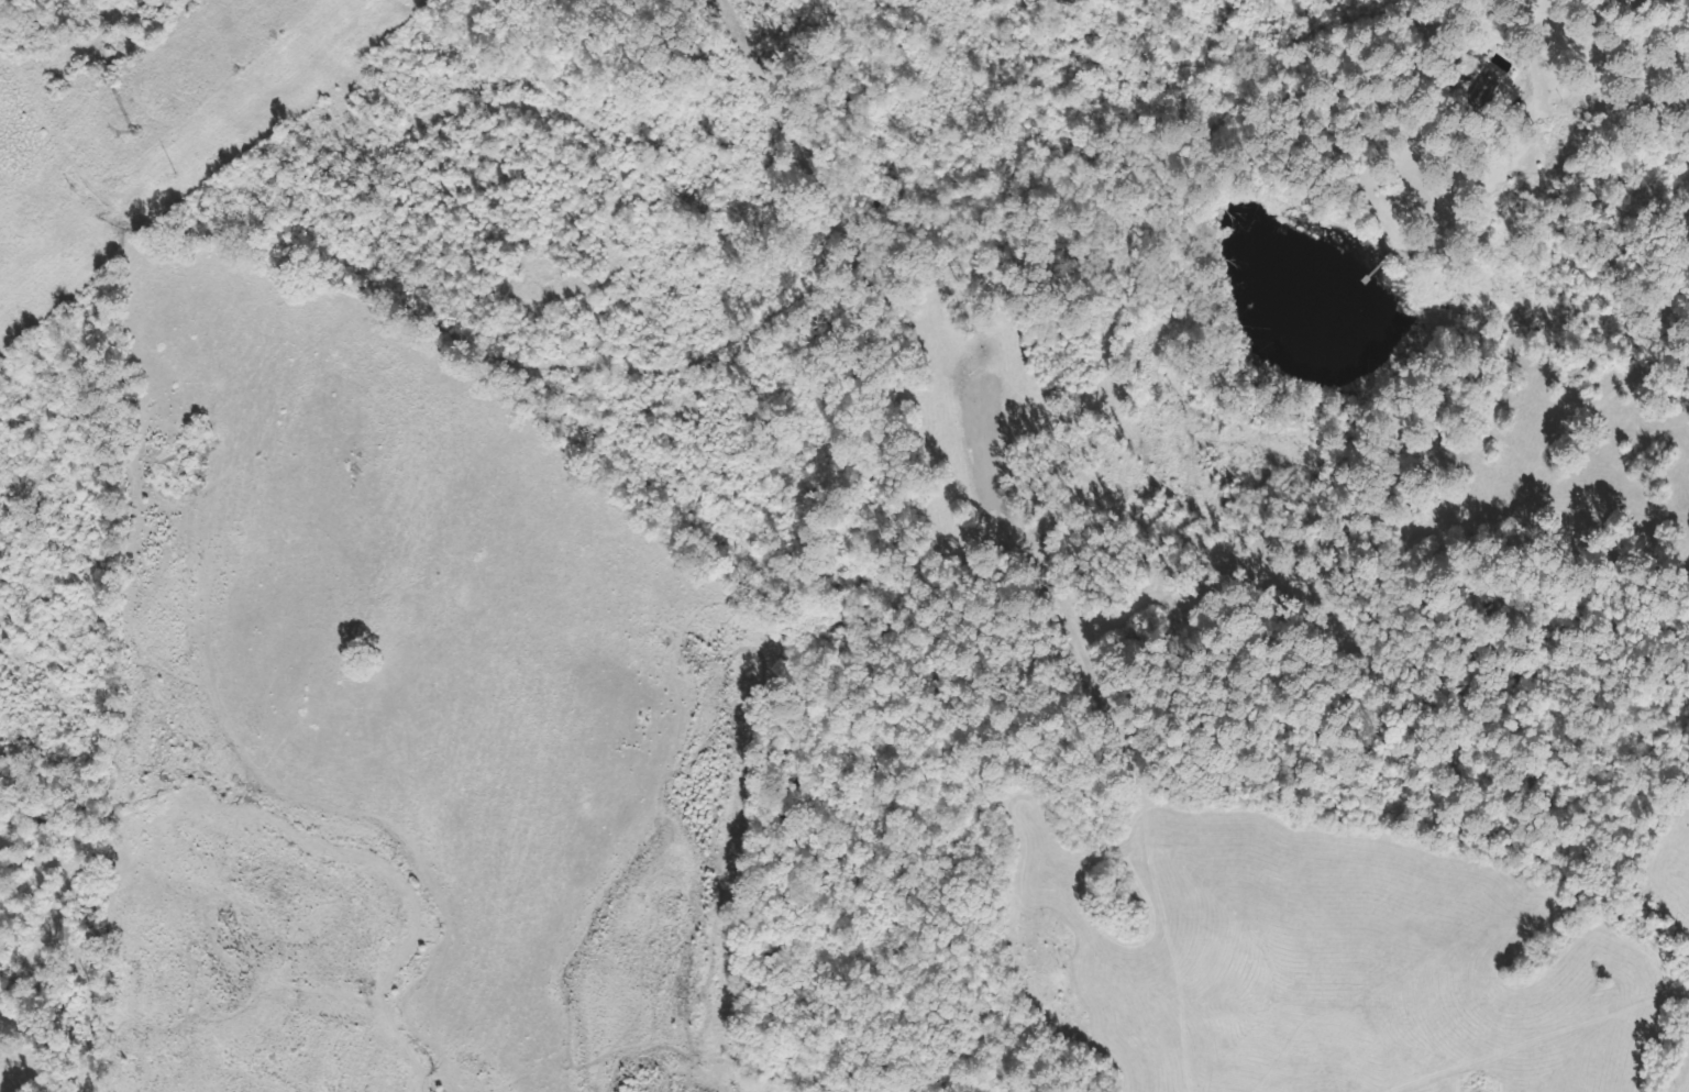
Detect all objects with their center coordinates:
power tower: (132, 132)
road: (708, 338)

